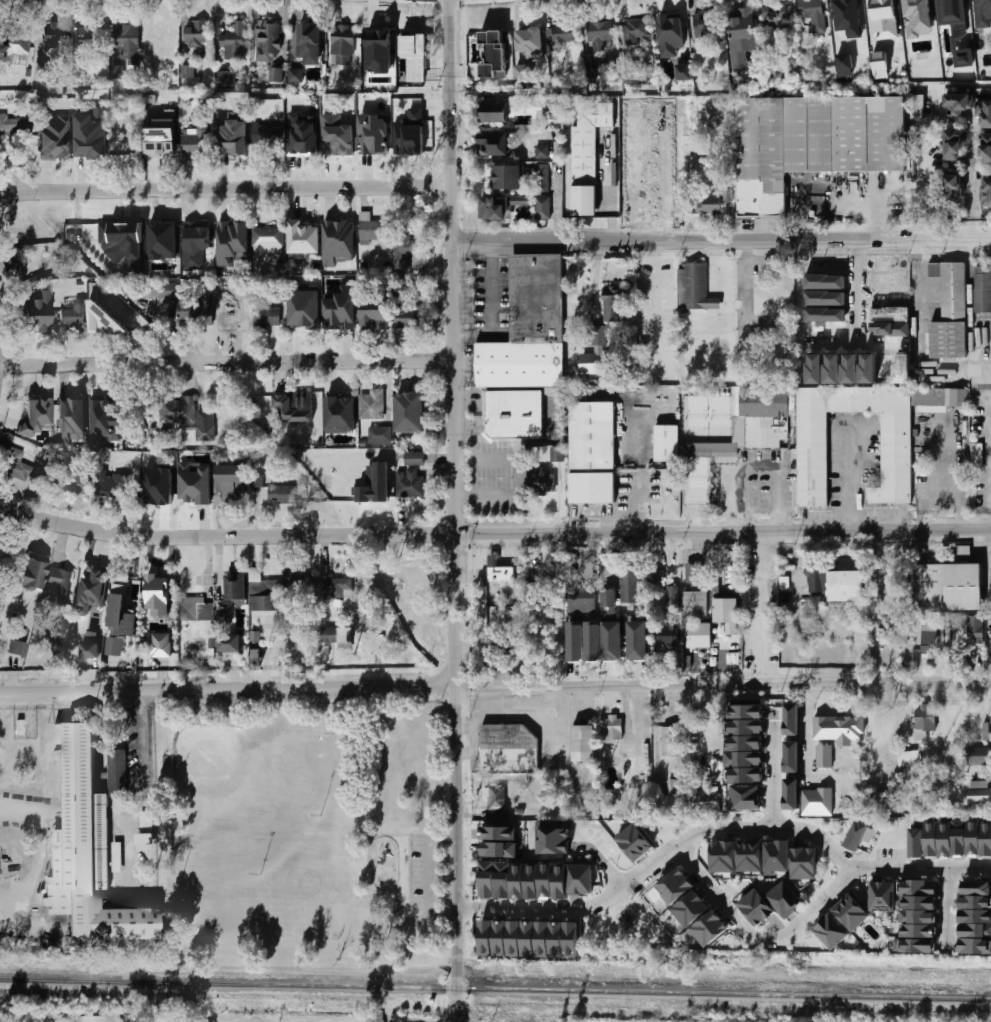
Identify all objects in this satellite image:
building: (916, 2)
building: (949, 2)
building: (984, 2)
building: (850, 5)
building: (876, 12)
building: (774, 14)
building: (813, 14)
building: (706, 24)
building: (633, 31)
building: (196, 33)
building: (563, 34)
building: (51, 35)
building: (161, 35)
building: (597, 35)
building: (86, 36)
building: (670, 36)
building: (741, 36)
building: (268, 37)
building: (529, 39)
building: (232, 40)
building: (126, 42)
building: (309, 43)
building: (341, 45)
building: (13, 47)
building: (379, 50)
building: (493, 53)
building: (415, 55)
building: (964, 58)
building: (880, 65)
building: (845, 66)
building: (592, 69)
building: (683, 71)
building: (117, 72)
building: (187, 72)
building: (522, 72)
building: (276, 74)
building: (294, 76)
building: (226, 78)
road: (515, 93)
building: (958, 104)
building: (918, 106)
building: (552, 110)
building: (631, 111)
building: (665, 111)
building: (100, 112)
building: (493, 112)
building: (987, 115)
building: (14, 124)
building: (631, 130)
building: (664, 130)
building: (374, 133)
building: (411, 133)
building: (265, 134)
building: (334, 138)
building: (53, 139)
building: (194, 141)
building: (298, 141)
building: (86, 143)
building: (160, 143)
building: (812, 143)
building: (494, 144)
building: (954, 145)
building: (127, 146)
building: (230, 148)
building: (986, 148)
building: (631, 151)
building: (665, 151)
building: (542, 152)
building: (587, 155)
building: (530, 170)
building: (666, 170)
building: (632, 171)
building: (507, 178)
building: (542, 178)
road: (971, 179)
building: (954, 190)
road: (225, 191)
building: (631, 191)
building: (665, 191)
building: (987, 192)
road: (609, 198)
building: (705, 204)
building: (502, 206)
building: (542, 208)
building: (631, 211)
building: (666, 212)
building: (370, 228)
building: (266, 238)
building: (339, 238)
building: (110, 241)
building: (160, 241)
building: (303, 241)
building: (195, 242)
road: (722, 242)
building: (230, 244)
building: (407, 252)
building: (13, 263)
building: (694, 288)
building: (982, 289)
building: (126, 291)
road: (721, 293)
road: (857, 301)
building: (181, 302)
building: (614, 303)
road: (654, 303)
road: (491, 306)
building: (328, 307)
building: (949, 312)
building: (229, 313)
building: (369, 315)
building: (32, 318)
building: (266, 318)
building: (68, 320)
building: (302, 320)
building: (104, 321)
building: (403, 324)
building: (528, 327)
building: (892, 329)
road: (833, 342)
building: (595, 362)
road: (227, 363)
building: (851, 368)
building: (902, 368)
building: (815, 369)
building: (833, 369)
building: (868, 369)
building: (885, 369)
building: (931, 399)
building: (370, 405)
building: (293, 406)
building: (103, 408)
building: (409, 412)
building: (336, 413)
building: (20, 414)
building: (514, 414)
building: (35, 415)
building: (68, 416)
building: (186, 416)
building: (762, 417)
building: (378, 434)
building: (667, 443)
building: (813, 450)
building: (592, 452)
building: (557, 454)
building: (977, 457)
building: (414, 458)
road: (937, 463)
building: (14, 465)
road: (757, 466)
road: (849, 477)
building: (47, 480)
building: (255, 480)
building: (368, 480)
building: (229, 482)
building: (541, 482)
building: (409, 483)
building: (157, 484)
building: (80, 485)
building: (111, 485)
building: (191, 489)
building: (280, 494)
road: (455, 512)
road: (493, 535)
road: (986, 562)
building: (536, 572)
building: (504, 573)
building: (694, 573)
building: (32, 574)
road: (798, 577)
building: (299, 581)
building: (815, 581)
building: (653, 583)
building: (21, 584)
building: (57, 585)
building: (628, 585)
building: (949, 585)
building: (91, 586)
building: (847, 587)
building: (335, 588)
building: (235, 590)
building: (158, 594)
building: (264, 596)
building: (580, 597)
building: (673, 598)
building: (606, 599)
building: (119, 600)
building: (695, 604)
parking lot: (758, 605)
building: (195, 610)
road: (760, 610)
building: (719, 614)
building: (976, 629)
building: (892, 631)
building: (327, 635)
building: (667, 636)
building: (342, 638)
building: (929, 638)
building: (578, 640)
building: (640, 640)
building: (596, 641)
building: (616, 641)
building: (228, 644)
building: (161, 645)
building: (115, 646)
building: (17, 648)
building: (90, 650)
building: (964, 653)
building: (255, 657)
road: (495, 690)
building: (747, 712)
building: (794, 718)
building: (923, 722)
building: (748, 727)
building: (841, 727)
building: (617, 729)
building: (987, 731)
road: (138, 738)
building: (670, 742)
building: (748, 742)
building: (586, 743)
building: (508, 749)
building: (827, 754)
building: (794, 755)
building: (974, 756)
building: (747, 758)
building: (910, 758)
building: (747, 773)
road: (773, 777)
building: (674, 786)
building: (794, 792)
building: (980, 792)
building: (747, 796)
building: (497, 798)
building: (819, 800)
park: (241, 801)
building: (705, 801)
road: (17, 809)
building: (144, 828)
road: (718, 830)
park: (302, 831)
building: (501, 832)
building: (860, 836)
building: (920, 838)
building: (934, 838)
building: (948, 838)
building: (962, 838)
building: (976, 838)
building: (987, 838)
building: (555, 840)
building: (638, 842)
building: (502, 848)
building: (89, 851)
road: (409, 851)
building: (752, 855)
building: (725, 856)
building: (780, 856)
building: (117, 857)
building: (806, 862)
road: (428, 863)
parking lot: (422, 875)
building: (490, 878)
building: (504, 878)
building: (581, 878)
building: (519, 879)
building: (533, 879)
building: (548, 880)
building: (562, 880)
building: (677, 886)
building: (920, 887)
building: (975, 888)
building: (884, 895)
building: (787, 897)
road: (717, 898)
building: (920, 901)
building: (975, 903)
building: (759, 906)
road: (816, 906)
building: (694, 908)
road: (944, 908)
building: (854, 912)
building: (920, 915)
building: (975, 917)
building: (712, 928)
building: (920, 929)
building: (834, 930)
building: (975, 932)
building: (489, 937)
building: (503, 937)
building: (517, 937)
building: (531, 937)
building: (545, 937)
building: (559, 937)
building: (573, 937)
building: (920, 943)
building: (975, 946)
railway: (495, 990)
building: (95, 1018)

